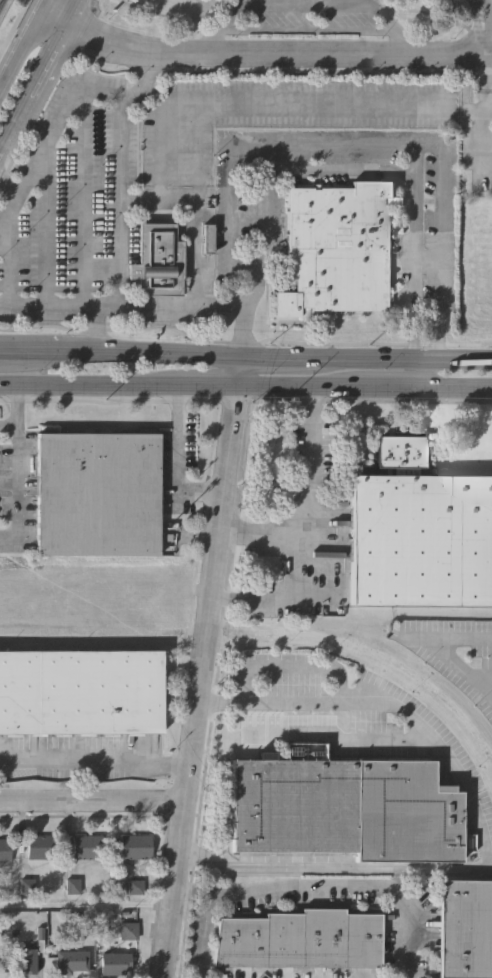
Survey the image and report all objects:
railway: (1, 2)
road: (306, 6)
road: (41, 7)
road: (423, 11)
road: (71, 13)
road: (178, 16)
parking lot: (313, 19)
road: (51, 20)
road: (13, 25)
road: (484, 25)
road: (480, 28)
road: (306, 30)
road: (19, 49)
road: (272, 52)
road: (488, 52)
road: (486, 80)
road: (32, 88)
road: (49, 91)
road: (239, 104)
road: (489, 109)
road: (486, 139)
road: (49, 140)
road: (82, 144)
parking lot: (476, 144)
road: (370, 145)
road: (339, 172)
road: (118, 199)
road: (13, 203)
road: (48, 222)
building: (334, 248)
building: (158, 258)
road: (45, 300)
road: (167, 303)
road: (90, 310)
road: (92, 336)
road: (8, 354)
road: (41, 354)
road: (152, 354)
road: (366, 356)
road: (239, 370)
road: (375, 376)
road: (119, 383)
road: (365, 385)
road: (19, 405)
road: (9, 428)
building: (402, 449)
road: (175, 461)
road: (19, 491)
building: (97, 494)
road: (306, 496)
building: (421, 540)
railway: (82, 568)
road: (265, 597)
railway: (379, 615)
railway: (94, 633)
railway: (210, 633)
road: (442, 652)
railway: (381, 658)
building: (484, 678)
road: (486, 678)
road: (201, 681)
building: (79, 693)
road: (321, 737)
road: (95, 760)
road: (93, 801)
building: (346, 807)
road: (484, 827)
building: (87, 845)
building: (40, 846)
building: (135, 846)
building: (5, 850)
road: (329, 887)
road: (86, 905)
building: (465, 927)
building: (128, 931)
road: (205, 935)
building: (300, 937)
building: (28, 960)
building: (70, 961)
building: (115, 962)

